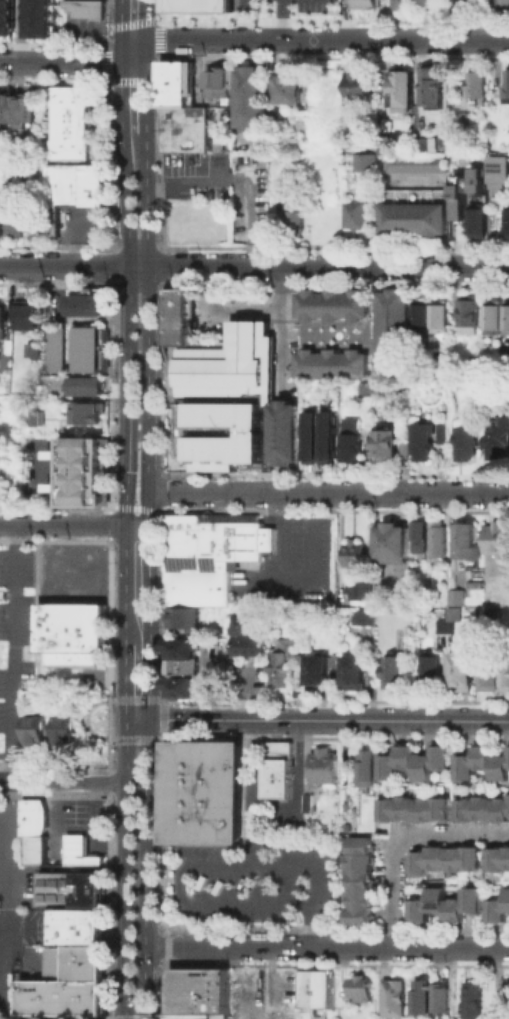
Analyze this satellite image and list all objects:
building: (429, 1)
building: (363, 3)
building: (244, 4)
building: (405, 5)
building: (504, 5)
building: (463, 6)
parking lot: (298, 7)
building: (199, 8)
building: (88, 12)
building: (7, 16)
building: (39, 18)
road: (146, 19)
road: (121, 20)
road: (278, 20)
road: (21, 31)
road: (133, 40)
road: (327, 40)
road: (121, 51)
road: (146, 51)
road: (60, 63)
road: (133, 63)
building: (507, 85)
building: (180, 88)
building: (362, 88)
building: (220, 89)
building: (481, 89)
building: (290, 91)
building: (435, 91)
building: (404, 95)
road: (146, 97)
building: (19, 110)
building: (253, 112)
building: (81, 125)
building: (467, 128)
building: (188, 134)
building: (382, 145)
building: (421, 146)
building: (414, 162)
building: (368, 164)
building: (502, 174)
building: (83, 186)
parking lot: (227, 190)
building: (467, 191)
building: (2, 218)
building: (18, 218)
building: (358, 219)
building: (414, 219)
building: (506, 219)
building: (297, 222)
building: (42, 224)
building: (479, 225)
parking lot: (84, 226)
road: (254, 266)
road: (283, 293)
building: (83, 304)
building: (332, 305)
road: (147, 310)
building: (473, 312)
building: (25, 314)
building: (424, 314)
building: (442, 315)
building: (498, 318)
building: (507, 319)
building: (4, 323)
building: (394, 330)
building: (55, 348)
building: (87, 348)
building: (37, 352)
road: (129, 352)
road: (282, 359)
building: (481, 359)
building: (333, 362)
building: (10, 363)
building: (88, 386)
building: (220, 388)
building: (90, 413)
building: (38, 416)
road: (282, 431)
building: (286, 431)
building: (445, 432)
building: (312, 436)
building: (330, 436)
building: (502, 440)
building: (355, 441)
building: (428, 443)
building: (391, 445)
building: (471, 446)
building: (88, 475)
road: (282, 478)
road: (327, 492)
road: (73, 524)
building: (424, 537)
building: (499, 540)
building: (217, 541)
building: (442, 542)
building: (471, 543)
building: (398, 546)
building: (358, 555)
parking lot: (294, 565)
building: (199, 584)
building: (362, 588)
building: (460, 600)
road: (149, 604)
building: (496, 614)
building: (458, 615)
parking lot: (34, 616)
building: (366, 618)
building: (185, 621)
building: (243, 627)
building: (446, 627)
building: (72, 629)
building: (249, 649)
building: (183, 666)
building: (285, 670)
building: (433, 672)
building: (396, 674)
building: (320, 675)
building: (356, 675)
building: (464, 675)
building: (496, 677)
road: (125, 680)
road: (136, 698)
road: (86, 717)
traffic signals: (126, 718)
traffic signals: (148, 718)
road: (162, 718)
road: (317, 720)
building: (37, 731)
building: (64, 733)
road: (136, 738)
road: (146, 749)
road: (127, 750)
building: (408, 759)
building: (443, 760)
building: (484, 760)
building: (390, 769)
building: (467, 769)
building: (325, 770)
building: (425, 770)
road: (12, 771)
building: (367, 771)
building: (501, 771)
building: (280, 774)
road: (63, 782)
road: (256, 793)
building: (207, 797)
building: (312, 805)
building: (390, 810)
building: (407, 810)
building: (424, 810)
building: (442, 810)
building: (467, 811)
building: (484, 811)
building: (501, 811)
building: (38, 820)
road: (399, 837)
building: (81, 853)
building: (40, 855)
building: (438, 861)
building: (508, 861)
building: (455, 862)
building: (472, 862)
road: (145, 863)
building: (499, 863)
road: (127, 864)
road: (188, 866)
building: (421, 866)
building: (361, 884)
parking lot: (258, 885)
building: (73, 894)
building: (438, 903)
building: (473, 904)
building: (508, 904)
building: (421, 913)
building: (456, 913)
building: (499, 915)
parking lot: (20, 916)
road: (311, 925)
building: (77, 933)
road: (326, 946)
building: (73, 969)
road: (127, 982)
road: (145, 982)
building: (317, 988)
building: (361, 992)
building: (200, 996)
building: (442, 1000)
building: (396, 1001)
building: (423, 1001)
building: (64, 1002)
building: (476, 1003)
building: (507, 1003)
road: (243, 1010)

